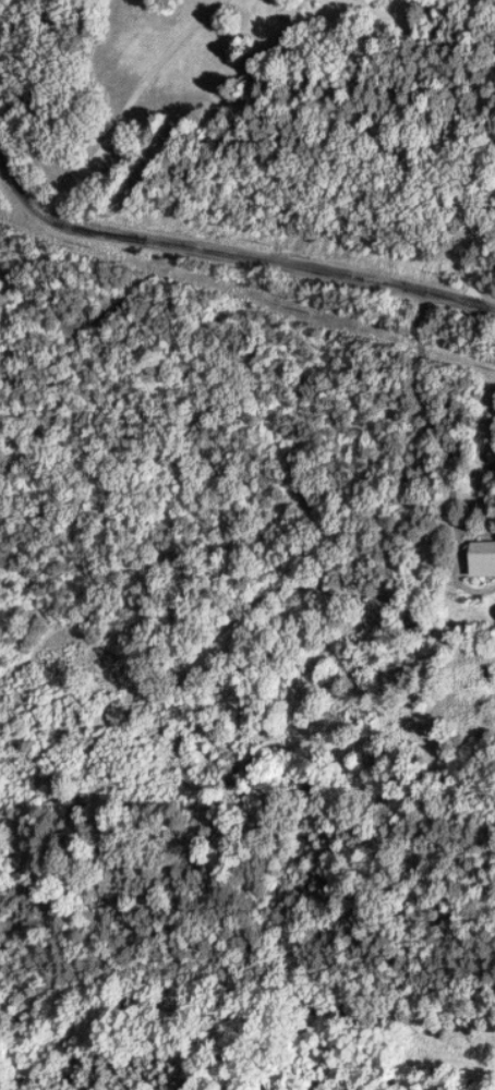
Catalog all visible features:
road: (131, 106)
road: (228, 257)
road: (443, 462)

